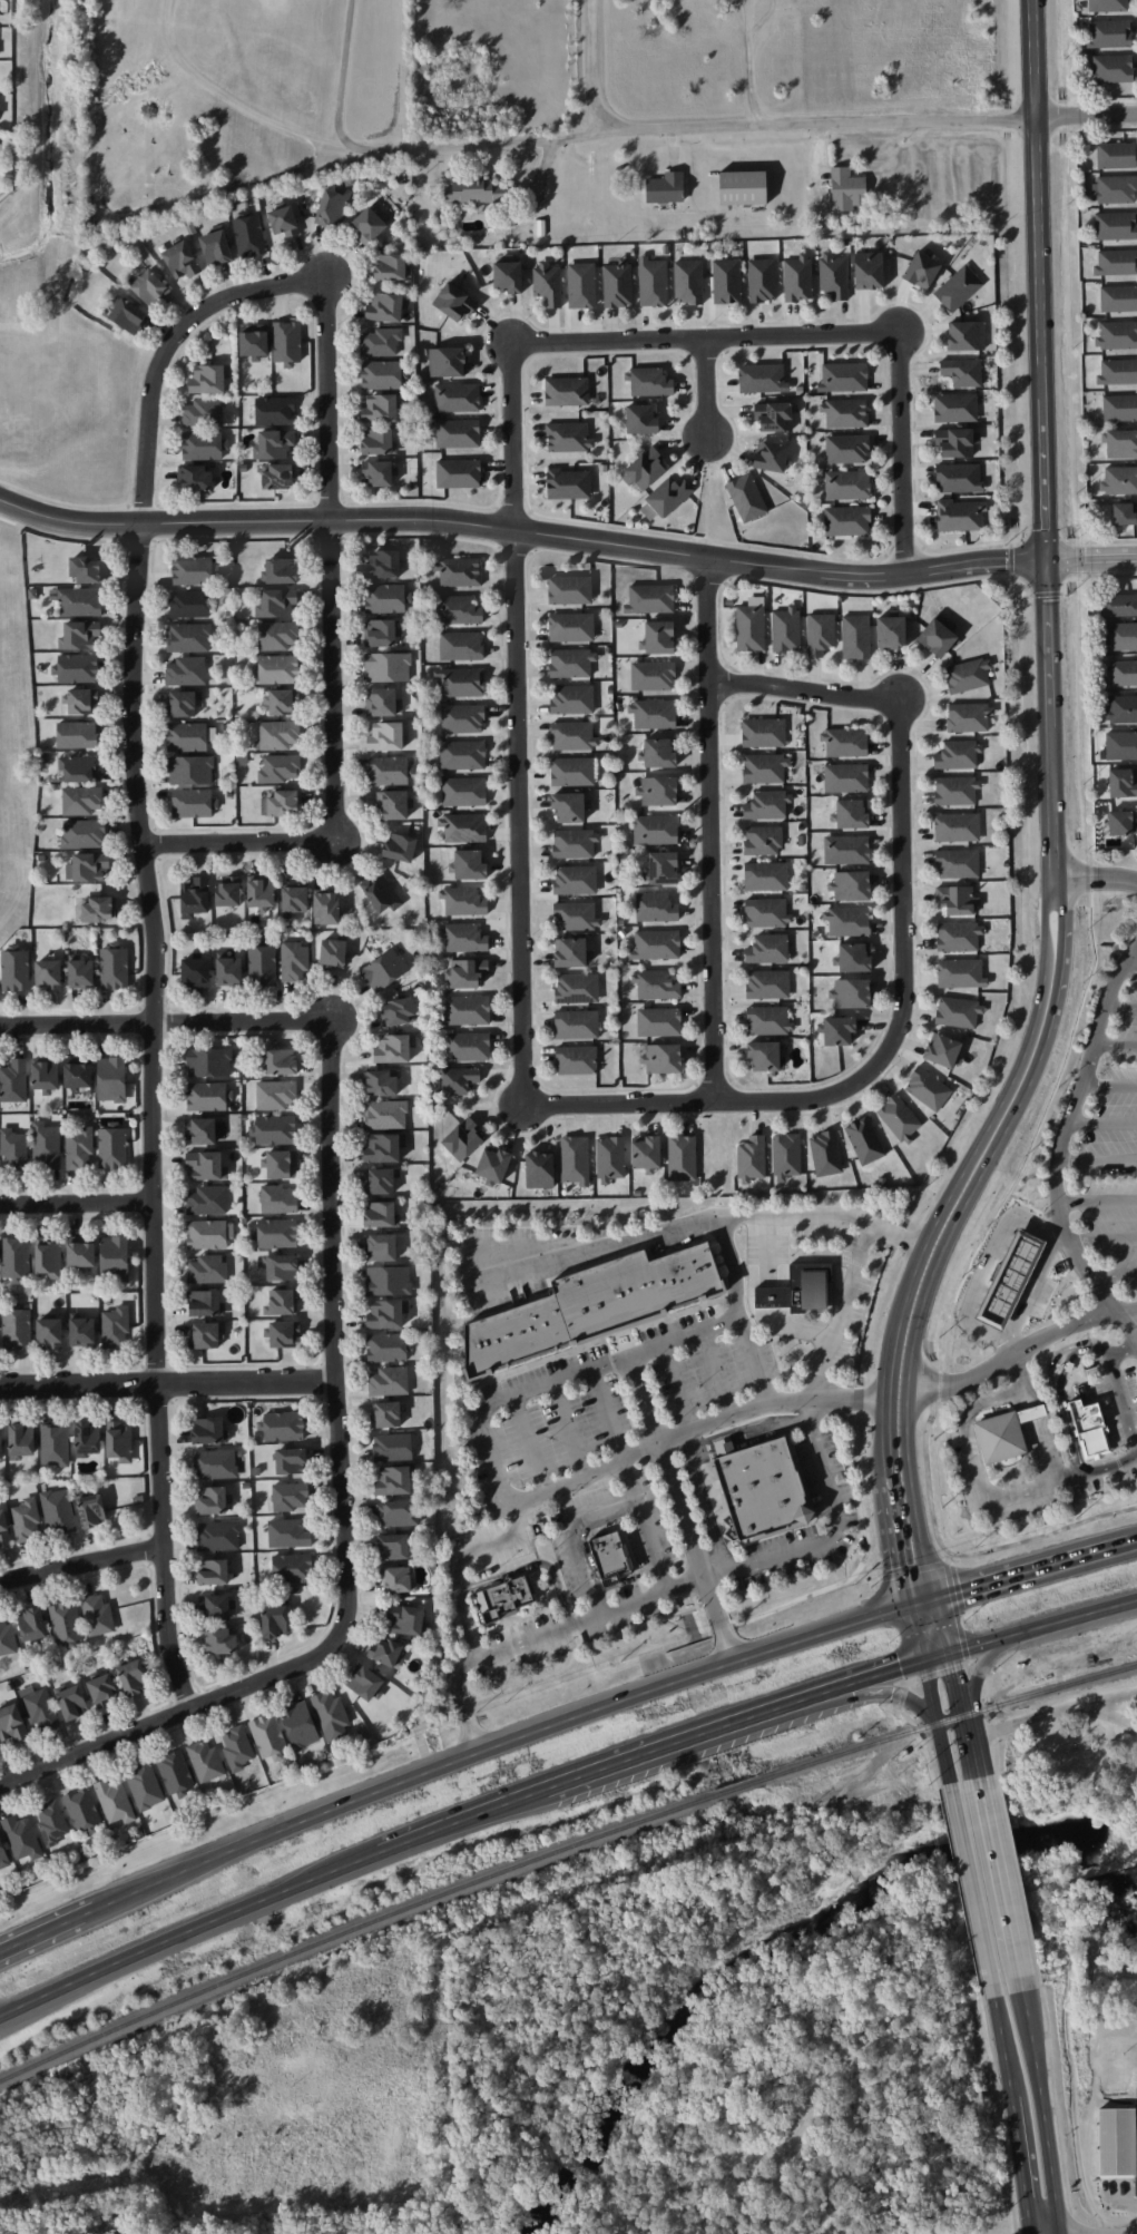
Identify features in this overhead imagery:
building: (1107, 4)
building: (1110, 33)
road: (749, 62)
road: (594, 68)
building: (1111, 68)
building: (0, 108)
road: (337, 109)
road: (1086, 119)
road: (725, 126)
building: (1116, 155)
building: (665, 187)
building: (742, 187)
building: (846, 189)
building: (1114, 189)
building: (476, 190)
building: (332, 206)
building: (283, 221)
building: (369, 225)
building: (1116, 225)
building: (248, 236)
building: (215, 246)
building: (180, 259)
building: (1116, 263)
building: (390, 266)
building: (869, 270)
building: (921, 270)
building: (833, 275)
building: (508, 276)
building: (797, 277)
building: (762, 280)
building: (726, 281)
building: (653, 282)
building: (688, 282)
building: (548, 283)
building: (617, 284)
building: (581, 285)
building: (150, 287)
building: (958, 287)
building: (1118, 298)
building: (454, 302)
building: (384, 307)
building: (127, 314)
building: (966, 335)
building: (1117, 335)
building: (254, 342)
building: (287, 342)
building: (381, 342)
building: (447, 361)
building: (962, 371)
building: (1117, 372)
building: (381, 374)
building: (843, 376)
building: (762, 378)
building: (209, 379)
building: (649, 381)
road: (708, 388)
building: (566, 391)
building: (457, 396)
building: (382, 408)
building: (955, 408)
building: (1119, 408)
building: (275, 411)
building: (203, 412)
building: (844, 412)
building: (774, 415)
building: (640, 419)
building: (458, 433)
building: (568, 437)
road: (1042, 440)
building: (379, 441)
building: (957, 441)
building: (1120, 443)
building: (203, 444)
building: (273, 444)
building: (846, 448)
building: (771, 455)
building: (644, 469)
building: (379, 471)
building: (458, 473)
building: (278, 476)
building: (196, 477)
building: (958, 477)
building: (1119, 480)
building: (568, 483)
building: (846, 484)
building: (668, 496)
building: (746, 497)
building: (1125, 513)
building: (960, 515)
building: (846, 520)
road: (522, 529)
road: (1091, 558)
building: (384, 564)
building: (87, 569)
building: (195, 569)
building: (280, 570)
building: (458, 571)
building: (570, 589)
building: (384, 598)
building: (649, 598)
building: (79, 601)
building: (276, 602)
building: (189, 604)
building: (1118, 605)
building: (457, 609)
building: (751, 625)
building: (571, 627)
building: (785, 628)
building: (380, 631)
building: (891, 631)
building: (820, 634)
building: (79, 635)
building: (277, 635)
building: (939, 635)
building: (1120, 636)
building: (188, 637)
building: (659, 637)
building: (855, 637)
building: (460, 646)
road: (332, 656)
building: (571, 663)
building: (388, 666)
building: (77, 668)
building: (277, 669)
building: (186, 670)
building: (1123, 673)
building: (651, 675)
building: (967, 675)
building: (460, 682)
building: (572, 699)
building: (80, 700)
building: (282, 700)
building: (381, 702)
building: (182, 703)
building: (1121, 709)
building: (653, 714)
building: (969, 717)
building: (462, 718)
building: (763, 732)
building: (77, 734)
building: (277, 734)
building: (574, 735)
building: (186, 736)
building: (386, 736)
building: (845, 742)
building: (1120, 745)
building: (659, 752)
building: (462, 754)
building: (955, 755)
building: (764, 767)
building: (278, 768)
building: (190, 770)
building: (386, 771)
building: (572, 771)
building: (845, 777)
building: (1123, 782)
building: (955, 790)
building: (463, 791)
building: (657, 791)
building: (81, 800)
building: (193, 803)
building: (281, 803)
building: (765, 804)
building: (393, 805)
building: (569, 806)
building: (851, 813)
building: (1121, 822)
building: (957, 826)
building: (463, 827)
road: (713, 829)
building: (655, 830)
building: (84, 833)
building: (763, 840)
building: (574, 844)
building: (400, 846)
building: (846, 850)
building: (958, 863)
building: (469, 864)
building: (90, 865)
building: (663, 868)
road: (520, 874)
building: (765, 875)
building: (575, 879)
road: (1097, 879)
building: (851, 885)
building: (261, 890)
building: (227, 891)
building: (381, 893)
building: (195, 896)
building: (294, 899)
building: (958, 900)
building: (463, 901)
building: (656, 907)
building: (96, 908)
building: (325, 908)
building: (766, 912)
building: (576, 915)
building: (847, 921)
building: (959, 935)
road: (156, 938)
building: (463, 938)
building: (656, 944)
building: (767, 949)
building: (570, 952)
building: (333, 953)
building: (854, 957)
building: (294, 960)
building: (262, 966)
road: (1130, 966)
building: (114, 968)
building: (14, 970)
building: (384, 970)
building: (195, 972)
building: (467, 972)
building: (49, 973)
building: (960, 973)
building: (768, 983)
building: (656, 984)
building: (577, 988)
building: (851, 992)
road: (1120, 1008)
building: (467, 1010)
building: (399, 1011)
building: (958, 1011)
building: (768, 1020)
building: (658, 1021)
road: (165, 1022)
building: (576, 1025)
building: (839, 1030)
road: (1116, 1045)
building: (468, 1046)
building: (393, 1047)
building: (942, 1050)
building: (765, 1055)
building: (663, 1058)
building: (576, 1059)
building: (208, 1061)
building: (281, 1061)
building: (78, 1071)
building: (45, 1074)
building: (111, 1079)
building: (458, 1079)
building: (13, 1080)
building: (381, 1082)
road: (1108, 1085)
building: (927, 1088)
building: (275, 1094)
building: (206, 1096)
building: (384, 1114)
building: (899, 1118)
road: (1101, 1123)
building: (275, 1129)
building: (202, 1130)
road: (990, 1131)
parking lot: (1106, 1136)
building: (462, 1138)
building: (864, 1140)
building: (46, 1145)
building: (112, 1147)
building: (383, 1147)
road: (1058, 1147)
building: (79, 1148)
building: (13, 1149)
building: (646, 1153)
building: (825, 1153)
building: (786, 1156)
building: (751, 1157)
building: (609, 1158)
building: (682, 1158)
building: (575, 1159)
road: (1096, 1162)
building: (493, 1163)
building: (281, 1164)
building: (206, 1165)
building: (539, 1169)
building: (380, 1180)
building: (278, 1198)
building: (206, 1201)
road: (1096, 1203)
road: (77, 1204)
building: (381, 1214)
road: (673, 1228)
building: (276, 1233)
building: (209, 1234)
road: (1102, 1238)
building: (381, 1247)
building: (80, 1252)
building: (14, 1256)
building: (48, 1256)
building: (114, 1257)
building: (281, 1266)
building: (1012, 1267)
building: (207, 1268)
building: (702, 1268)
building: (682, 1276)
gas station: (1006, 1276)
road: (1113, 1276)
road: (1040, 1278)
building: (388, 1280)
building: (663, 1283)
building: (635, 1284)
building: (810, 1287)
building: (608, 1293)
road: (768, 1297)
building: (282, 1302)
building: (205, 1303)
building: (577, 1303)
road: (1126, 1309)
road: (736, 1310)
building: (386, 1313)
building: (551, 1319)
building: (532, 1325)
building: (16, 1326)
building: (115, 1326)
building: (516, 1330)
building: (82, 1331)
building: (50, 1332)
building: (282, 1333)
building: (501, 1335)
building: (488, 1340)
building: (386, 1346)
building: (472, 1349)
road: (717, 1373)
building: (389, 1381)
road: (559, 1381)
road: (168, 1383)
road: (1053, 1385)
road: (677, 1388)
parking lot: (612, 1402)
building: (386, 1413)
building: (282, 1425)
building: (1088, 1427)
building: (208, 1430)
road: (567, 1431)
building: (998, 1436)
road: (966, 1437)
building: (87, 1438)
road: (1036, 1439)
building: (21, 1440)
road: (664, 1440)
road: (1134, 1440)
building: (119, 1441)
building: (1, 1443)
building: (55, 1443)
road: (529, 1444)
building: (392, 1447)
building: (291, 1460)
building: (215, 1463)
building: (394, 1480)
parking lot: (825, 1480)
road: (628, 1481)
building: (761, 1487)
road: (896, 1492)
building: (290, 1496)
building: (212, 1499)
building: (91, 1509)
building: (58, 1510)
road: (679, 1511)
building: (396, 1513)
road: (344, 1517)
building: (26, 1520)
building: (3, 1528)
road: (830, 1529)
building: (288, 1532)
building: (218, 1535)
road: (570, 1535)
road: (1136, 1542)
building: (393, 1546)
parking lot: (491, 1546)
building: (615, 1551)
building: (601, 1559)
road: (82, 1562)
traffic signals: (912, 1565)
road: (532, 1566)
building: (292, 1567)
building: (213, 1571)
road: (1029, 1574)
parking lot: (595, 1577)
building: (398, 1579)
traffic signals: (961, 1594)
building: (501, 1598)
building: (214, 1606)
building: (97, 1615)
building: (405, 1619)
building: (274, 1620)
building: (66, 1623)
building: (31, 1624)
road: (1039, 1629)
road: (933, 1632)
building: (7, 1637)
building: (218, 1640)
building: (385, 1650)
road: (982, 1664)
traffic signals: (902, 1672)
traffic signals: (959, 1675)
road: (886, 1676)
building: (133, 1677)
road: (959, 1677)
building: (364, 1682)
building: (102, 1689)
road: (933, 1691)
road: (892, 1692)
railway: (1039, 1695)
building: (71, 1701)
building: (40, 1708)
road: (1051, 1709)
road: (966, 1712)
building: (331, 1715)
building: (12, 1723)
road: (1126, 1723)
building: (300, 1724)
building: (268, 1736)
road: (675, 1743)
road: (511, 1745)
building: (237, 1746)
road: (973, 1751)
road: (948, 1757)
building: (205, 1760)
building: (175, 1773)
building: (145, 1785)
building: (115, 1801)
building: (82, 1809)
building: (51, 1821)
road: (442, 1830)
building: (21, 1838)
building: (3, 1855)
road: (1002, 1885)
railway: (464, 1887)
road: (976, 1892)
road: (52, 1928)
road: (180, 1934)
road: (1040, 2105)
road: (1018, 2110)
building: (1117, 2143)
road: (1047, 2227)
road: (1087, 2227)

